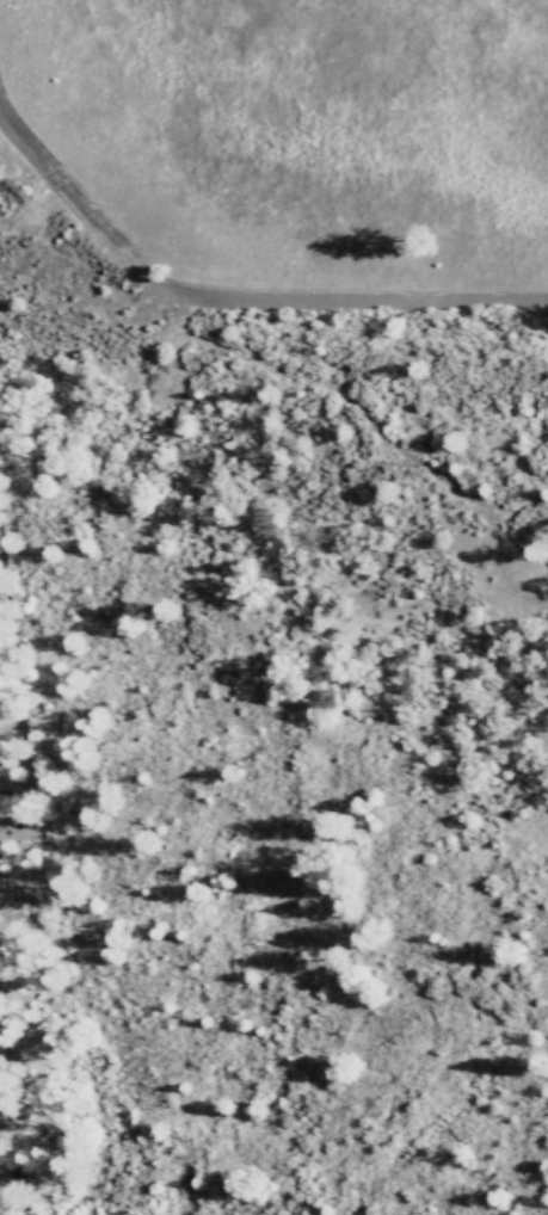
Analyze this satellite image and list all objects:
building: (2, 1112)

